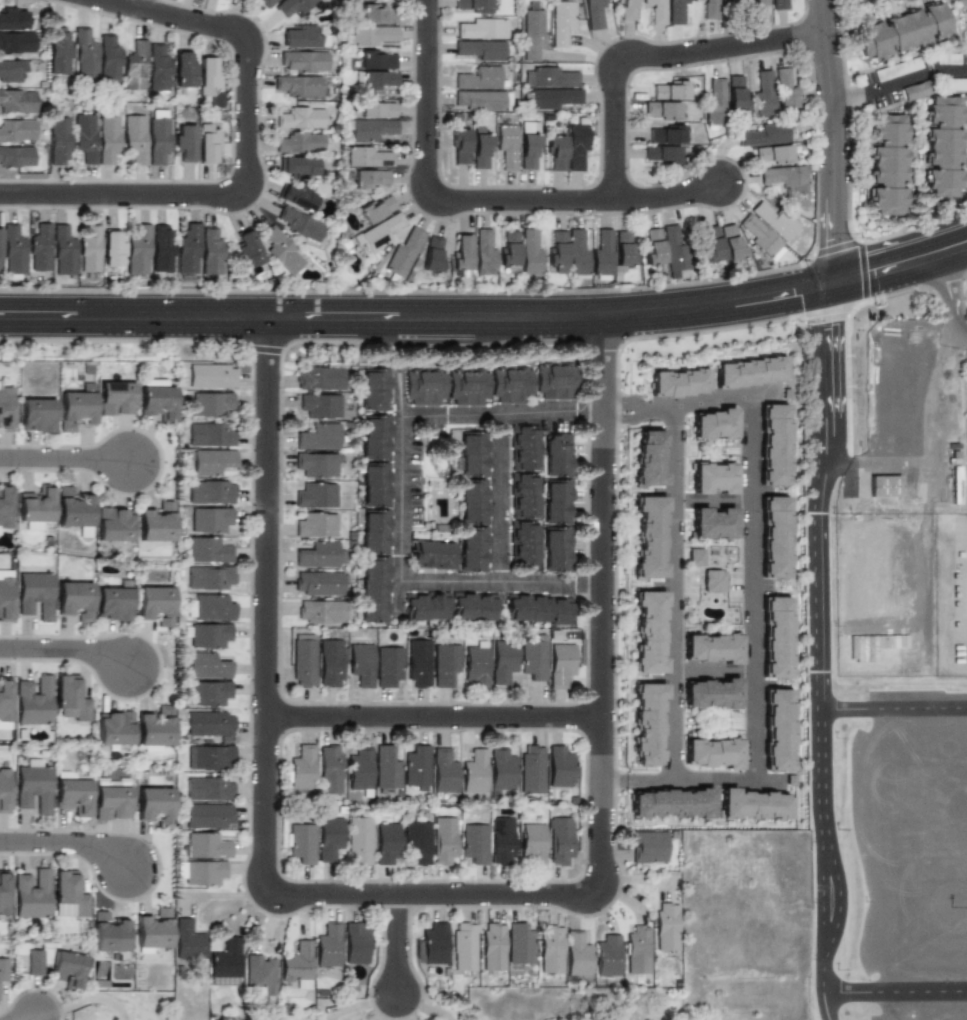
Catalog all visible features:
building: (863, 0)
building: (266, 2)
building: (960, 2)
street lamp: (413, 3)
building: (726, 4)
building: (759, 4)
building: (778, 4)
building: (473, 5)
building: (292, 6)
building: (626, 9)
building: (709, 9)
building: (655, 11)
building: (674, 11)
building: (593, 13)
building: (377, 14)
building: (12, 19)
street lamp: (261, 21)
building: (560, 21)
street lamp: (151, 27)
building: (482, 29)
building: (902, 31)
building: (530, 33)
building: (372, 35)
building: (300, 36)
building: (15, 42)
street lamp: (606, 46)
building: (480, 49)
building: (58, 50)
building: (84, 54)
road: (651, 56)
building: (108, 58)
building: (376, 59)
building: (947, 59)
building: (303, 61)
building: (134, 66)
street lamp: (705, 67)
street lamp: (811, 67)
building: (157, 68)
building: (897, 69)
building: (11, 70)
building: (183, 70)
building: (208, 73)
building: (479, 78)
building: (549, 78)
parking lot: (912, 79)
building: (378, 80)
building: (950, 84)
building: (297, 85)
road: (899, 86)
building: (670, 90)
building: (917, 90)
building: (785, 92)
building: (735, 94)
building: (762, 95)
building: (553, 98)
building: (479, 100)
building: (16, 101)
building: (714, 103)
building: (375, 108)
building: (661, 110)
street lamp: (445, 112)
street lamp: (233, 114)
building: (299, 118)
street lamp: (632, 123)
building: (370, 129)
building: (16, 130)
building: (666, 135)
building: (763, 135)
building: (84, 136)
building: (134, 138)
building: (107, 139)
building: (58, 140)
building: (157, 141)
building: (185, 142)
building: (300, 142)
road: (834, 142)
building: (208, 145)
building: (459, 145)
building: (576, 145)
building: (507, 146)
building: (942, 146)
building: (480, 150)
building: (528, 150)
building: (555, 152)
building: (661, 153)
building: (773, 153)
building: (15, 156)
building: (367, 157)
road: (249, 162)
building: (887, 164)
building: (299, 166)
building: (782, 175)
street lamp: (151, 179)
building: (370, 179)
street lamp: (648, 184)
street lamp: (545, 186)
street lamp: (750, 189)
building: (297, 197)
road: (479, 201)
building: (375, 209)
street lamp: (55, 210)
street lamp: (248, 214)
building: (773, 220)
street lamp: (453, 221)
building: (299, 224)
building: (380, 232)
building: (759, 236)
traffic signals: (836, 239)
building: (730, 243)
building: (711, 246)
building: (652, 247)
building: (40, 248)
building: (508, 248)
building: (556, 248)
building: (672, 248)
building: (89, 249)
building: (112, 249)
building: (162, 249)
building: (187, 249)
building: (248, 249)
building: (623, 249)
building: (13, 250)
building: (63, 250)
building: (138, 250)
building: (281, 250)
building: (210, 252)
building: (404, 252)
building: (461, 253)
building: (483, 253)
building: (529, 253)
building: (576, 253)
building: (602, 253)
building: (432, 254)
building: (0, 257)
traffic signals: (870, 277)
street lamp: (546, 289)
traffic signals: (791, 295)
road: (953, 301)
road: (487, 316)
traffic signals: (836, 321)
road: (836, 324)
building: (747, 372)
building: (211, 376)
building: (320, 378)
building: (556, 383)
building: (676, 383)
building: (513, 385)
building: (426, 388)
building: (470, 389)
building: (376, 392)
road: (766, 393)
road: (402, 394)
building: (115, 398)
building: (156, 399)
building: (212, 404)
building: (320, 406)
building: (5, 409)
building: (75, 410)
building: (37, 415)
building: (713, 425)
street lamp: (137, 427)
building: (211, 435)
building: (319, 437)
building: (378, 440)
building: (773, 445)
road: (403, 447)
building: (525, 448)
building: (473, 454)
building: (558, 456)
building: (648, 458)
road: (65, 459)
building: (211, 461)
building: (316, 464)
street lamp: (17, 472)
building: (713, 478)
building: (884, 486)
building: (376, 487)
building: (211, 492)
building: (316, 495)
building: (525, 496)
road: (501, 498)
building: (472, 501)
building: (556, 501)
road: (714, 501)
building: (36, 505)
building: (5, 506)
building: (74, 511)
building: (210, 520)
building: (713, 523)
building: (114, 524)
building: (155, 524)
building: (316, 525)
building: (378, 534)
street lamp: (619, 534)
building: (648, 537)
building: (774, 537)
road: (816, 537)
building: (524, 543)
building: (472, 548)
building: (556, 549)
building: (208, 550)
building: (320, 555)
building: (432, 556)
building: (695, 557)
road: (753, 574)
building: (209, 577)
building: (874, 580)
road: (551, 581)
building: (713, 581)
building: (319, 583)
building: (377, 592)
building: (35, 594)
road: (676, 594)
building: (5, 599)
building: (75, 600)
road: (268, 603)
road: (603, 603)
building: (113, 604)
building: (154, 605)
building: (213, 608)
building: (428, 610)
building: (320, 611)
building: (476, 611)
building: (540, 613)
building: (648, 632)
building: (209, 635)
building: (775, 637)
building: (712, 648)
road: (66, 649)
building: (533, 660)
building: (303, 661)
building: (502, 662)
building: (330, 663)
building: (418, 663)
building: (361, 664)
building: (560, 664)
building: (445, 665)
building: (207, 666)
building: (388, 666)
building: (475, 667)
road: (715, 671)
building: (209, 693)
building: (711, 694)
building: (5, 699)
building: (70, 699)
building: (33, 700)
road: (891, 707)
road: (435, 717)
building: (646, 723)
building: (209, 724)
building: (155, 727)
building: (114, 728)
building: (776, 730)
street lamp: (618, 737)
building: (711, 753)
building: (209, 757)
building: (417, 766)
building: (559, 767)
building: (302, 768)
building: (386, 768)
building: (329, 769)
building: (360, 769)
building: (532, 769)
building: (502, 770)
building: (444, 771)
building: (475, 772)
road: (618, 781)
road: (779, 781)
road: (816, 782)
building: (111, 783)
building: (37, 789)
building: (208, 789)
building: (5, 791)
building: (76, 796)
building: (114, 802)
building: (670, 803)
building: (751, 804)
building: (158, 806)
building: (208, 815)
building: (329, 839)
building: (358, 840)
building: (443, 840)
building: (559, 841)
road: (67, 842)
building: (301, 843)
building: (386, 843)
building: (417, 843)
building: (474, 843)
building: (532, 844)
building: (205, 846)
building: (647, 846)
building: (204, 873)
building: (5, 894)
building: (72, 894)
road: (434, 894)
building: (35, 896)
road: (826, 911)
building: (665, 927)
building: (153, 929)
building: (107, 933)
building: (188, 940)
road: (399, 943)
building: (434, 943)
building: (355, 944)
building: (519, 944)
building: (328, 945)
building: (463, 947)
building: (491, 947)
building: (550, 949)
building: (637, 950)
building: (576, 954)
building: (606, 956)
building: (226, 959)
building: (34, 962)
building: (297, 965)
building: (67, 969)
building: (4, 970)
building: (260, 974)
building: (224, 980)
road: (823, 983)
road: (894, 987)
road: (82, 1002)
road: (827, 1007)
road: (34, 1019)

